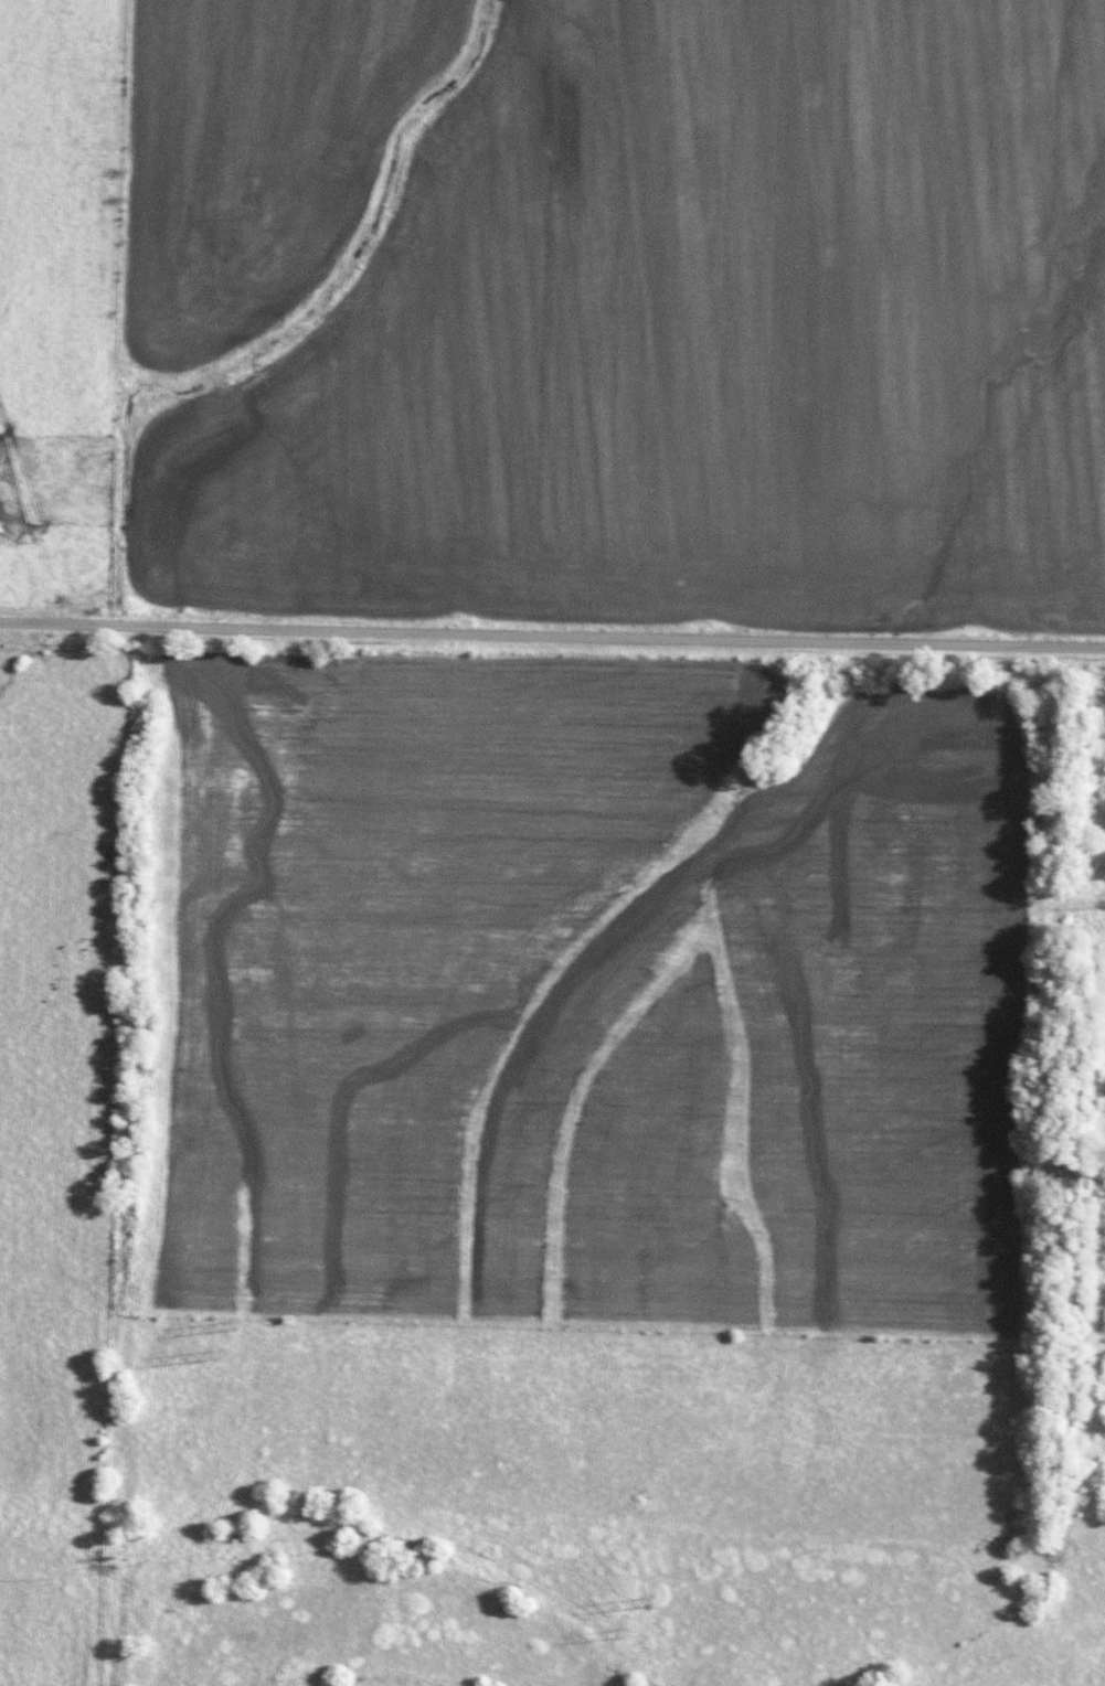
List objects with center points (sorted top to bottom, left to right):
road: (552, 633)
power tower: (230, 1327)
power tower: (208, 1355)
power tower: (639, 1602)
power tower: (620, 1632)

